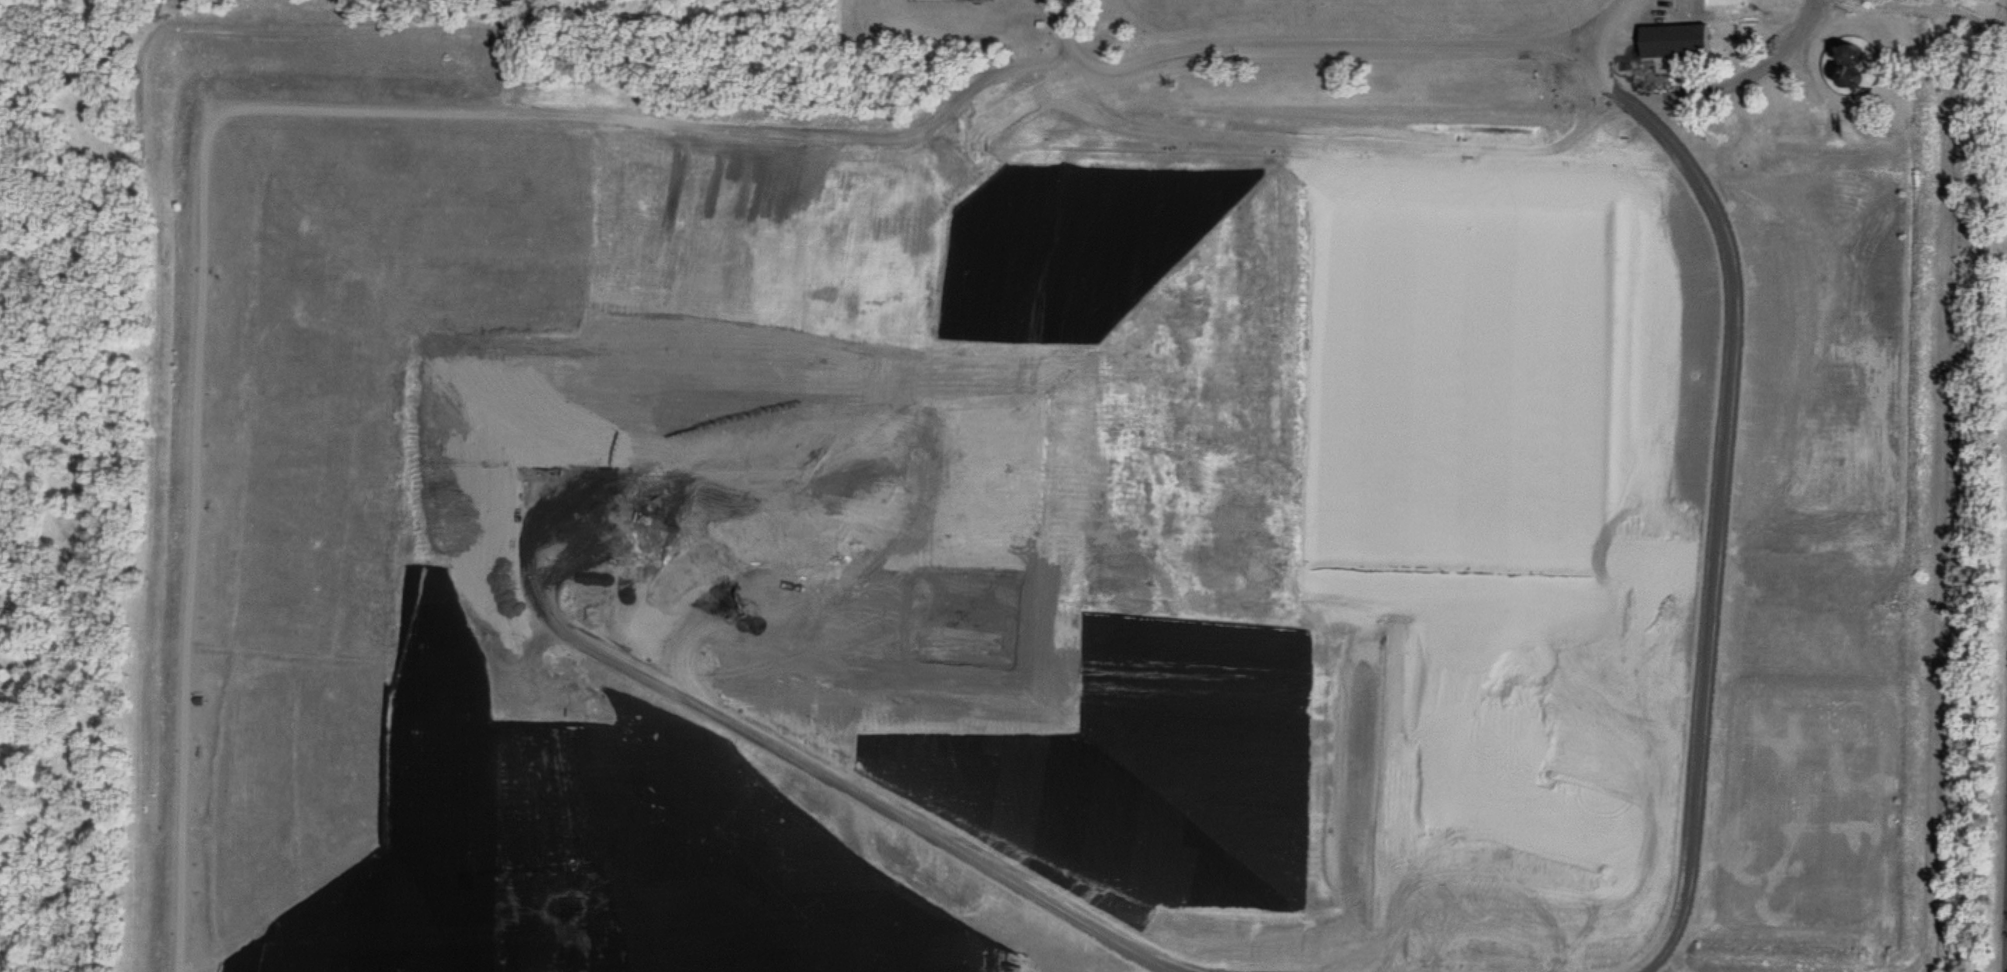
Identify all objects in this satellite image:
building: (1672, 35)
road: (1061, 41)
road: (1740, 79)
road: (225, 111)
road: (890, 227)
landfill: (1054, 485)
road: (1715, 486)
road: (1113, 971)

